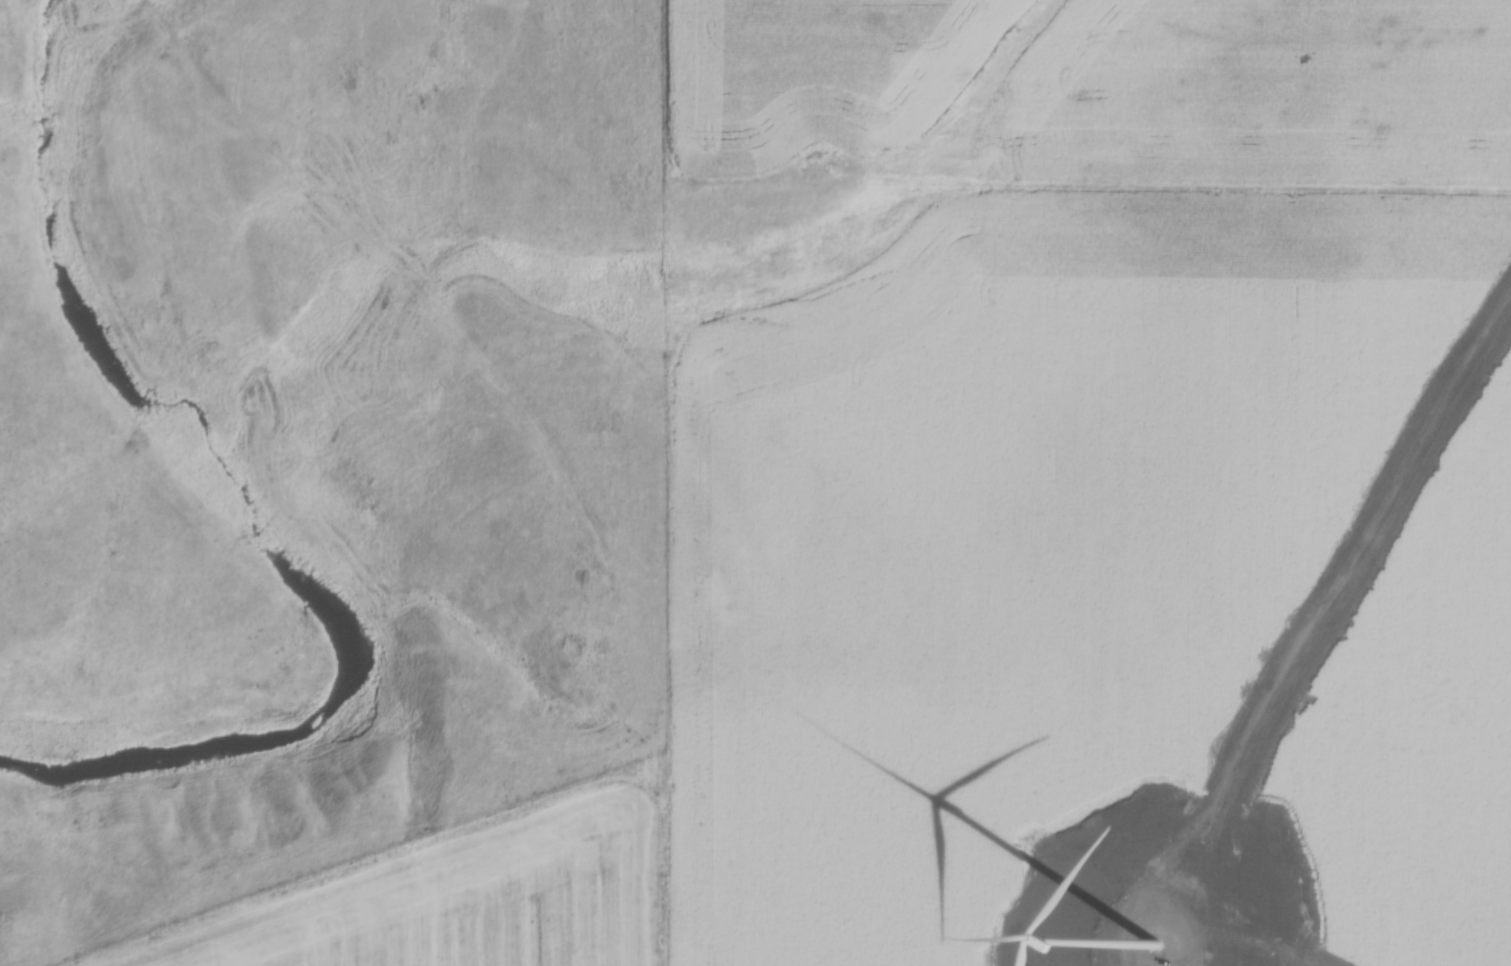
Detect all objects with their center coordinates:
wind turbine: (1156, 944)

